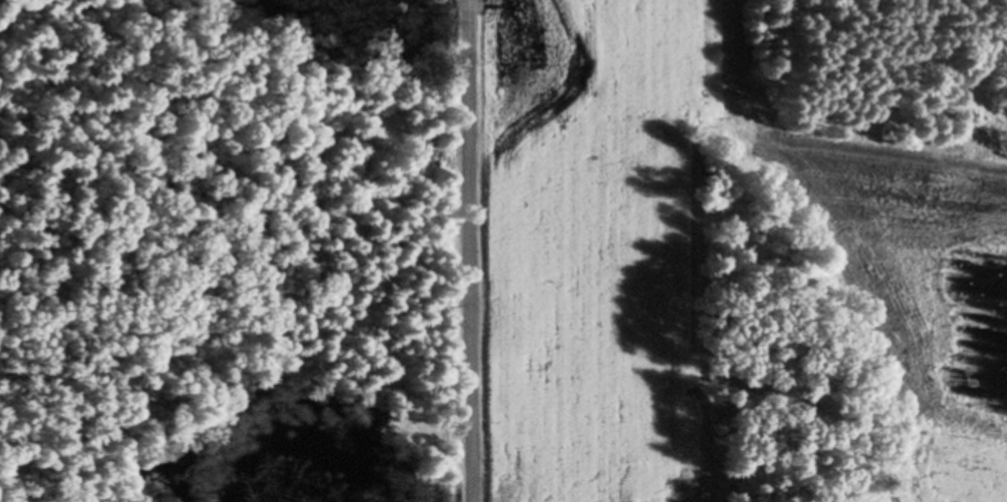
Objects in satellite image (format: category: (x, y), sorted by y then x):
road: (470, 251)

